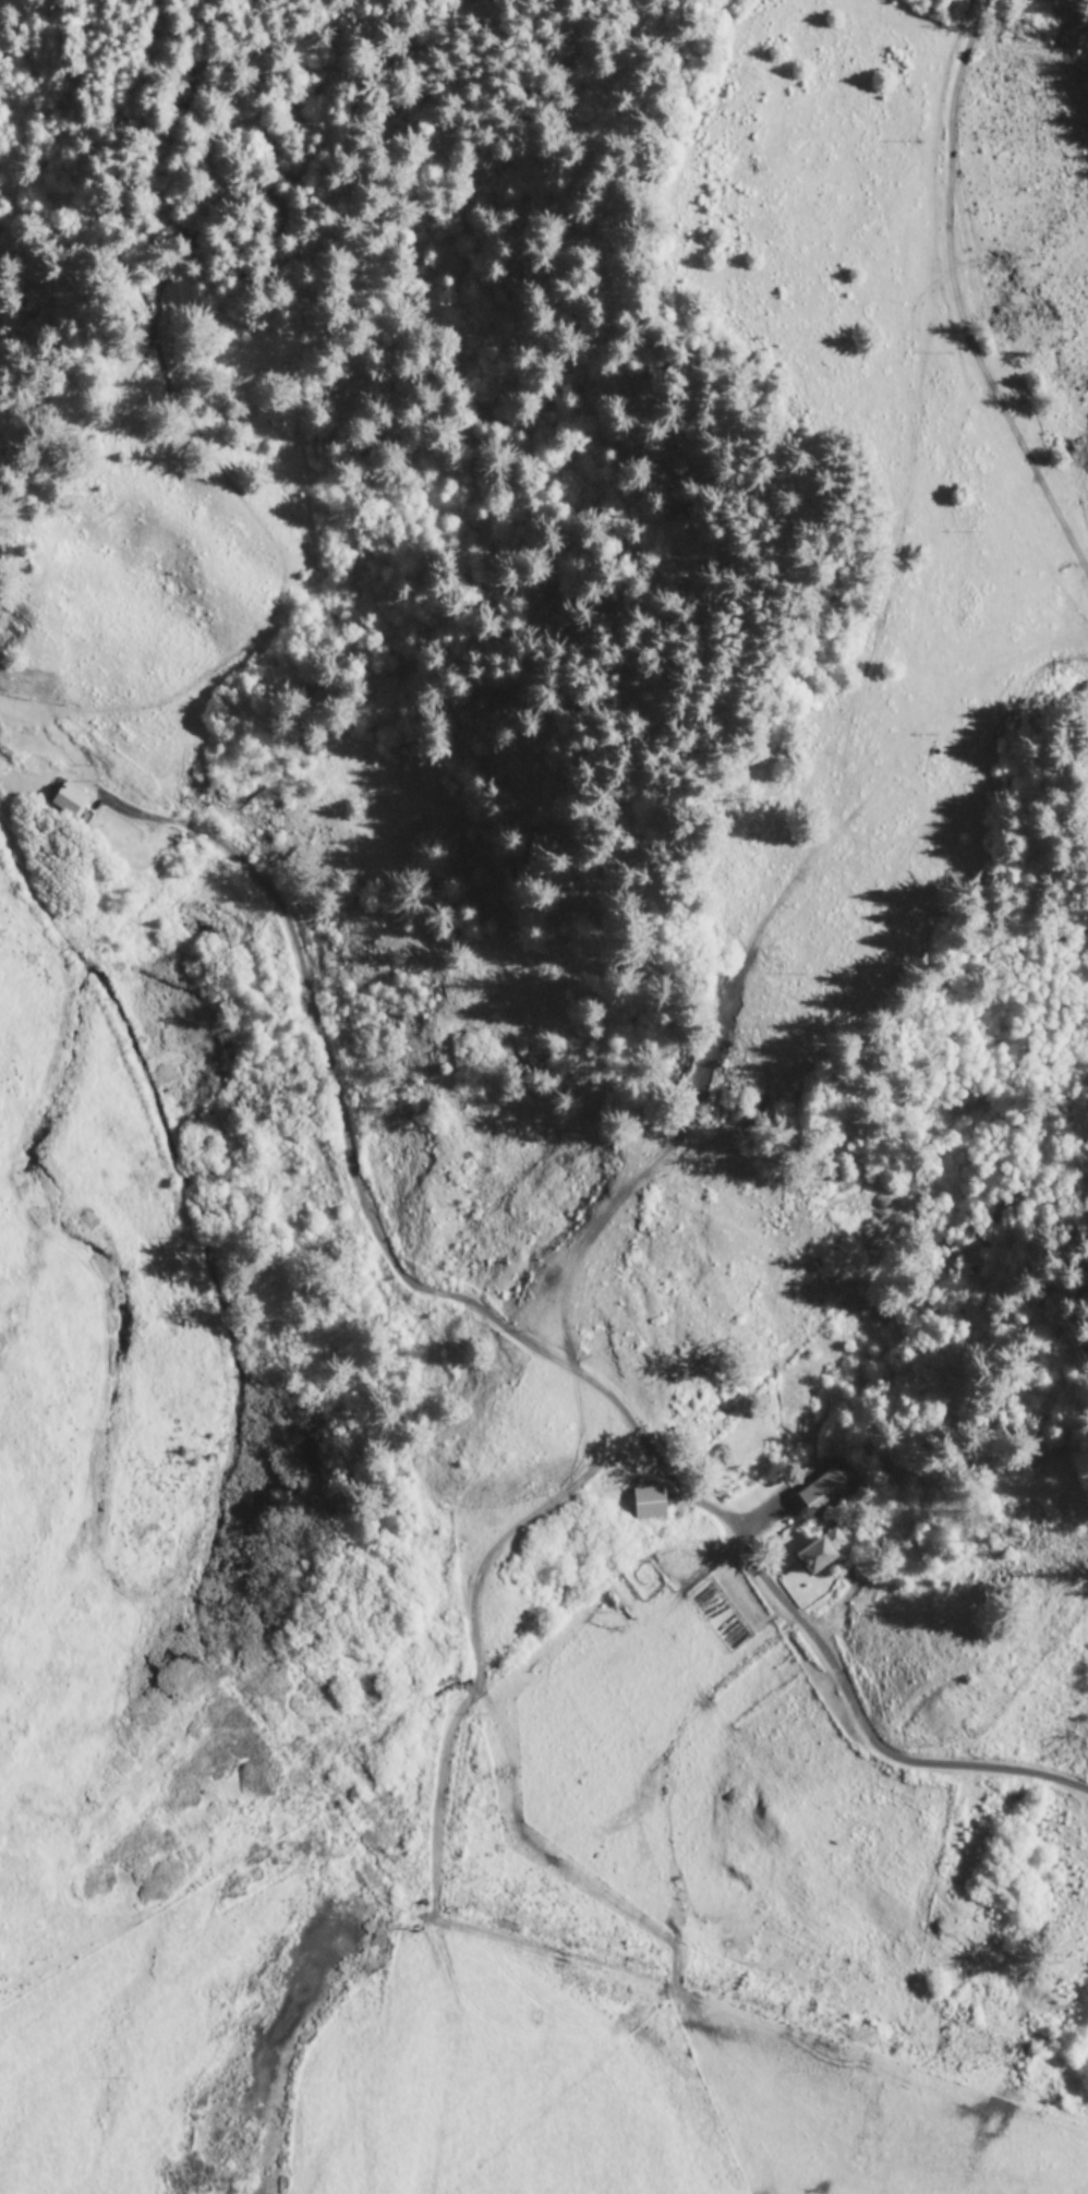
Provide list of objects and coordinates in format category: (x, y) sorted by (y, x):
road: (955, 300)
building: (70, 801)
building: (821, 1494)
building: (648, 1504)
building: (824, 1551)
road: (878, 1750)

